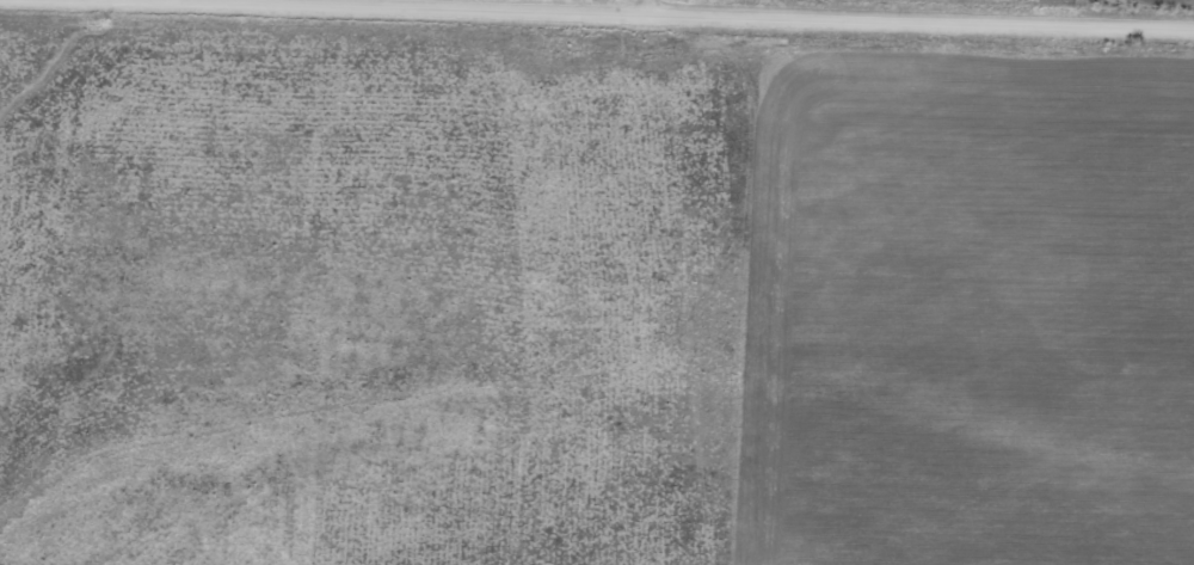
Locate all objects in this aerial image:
road: (597, 27)

